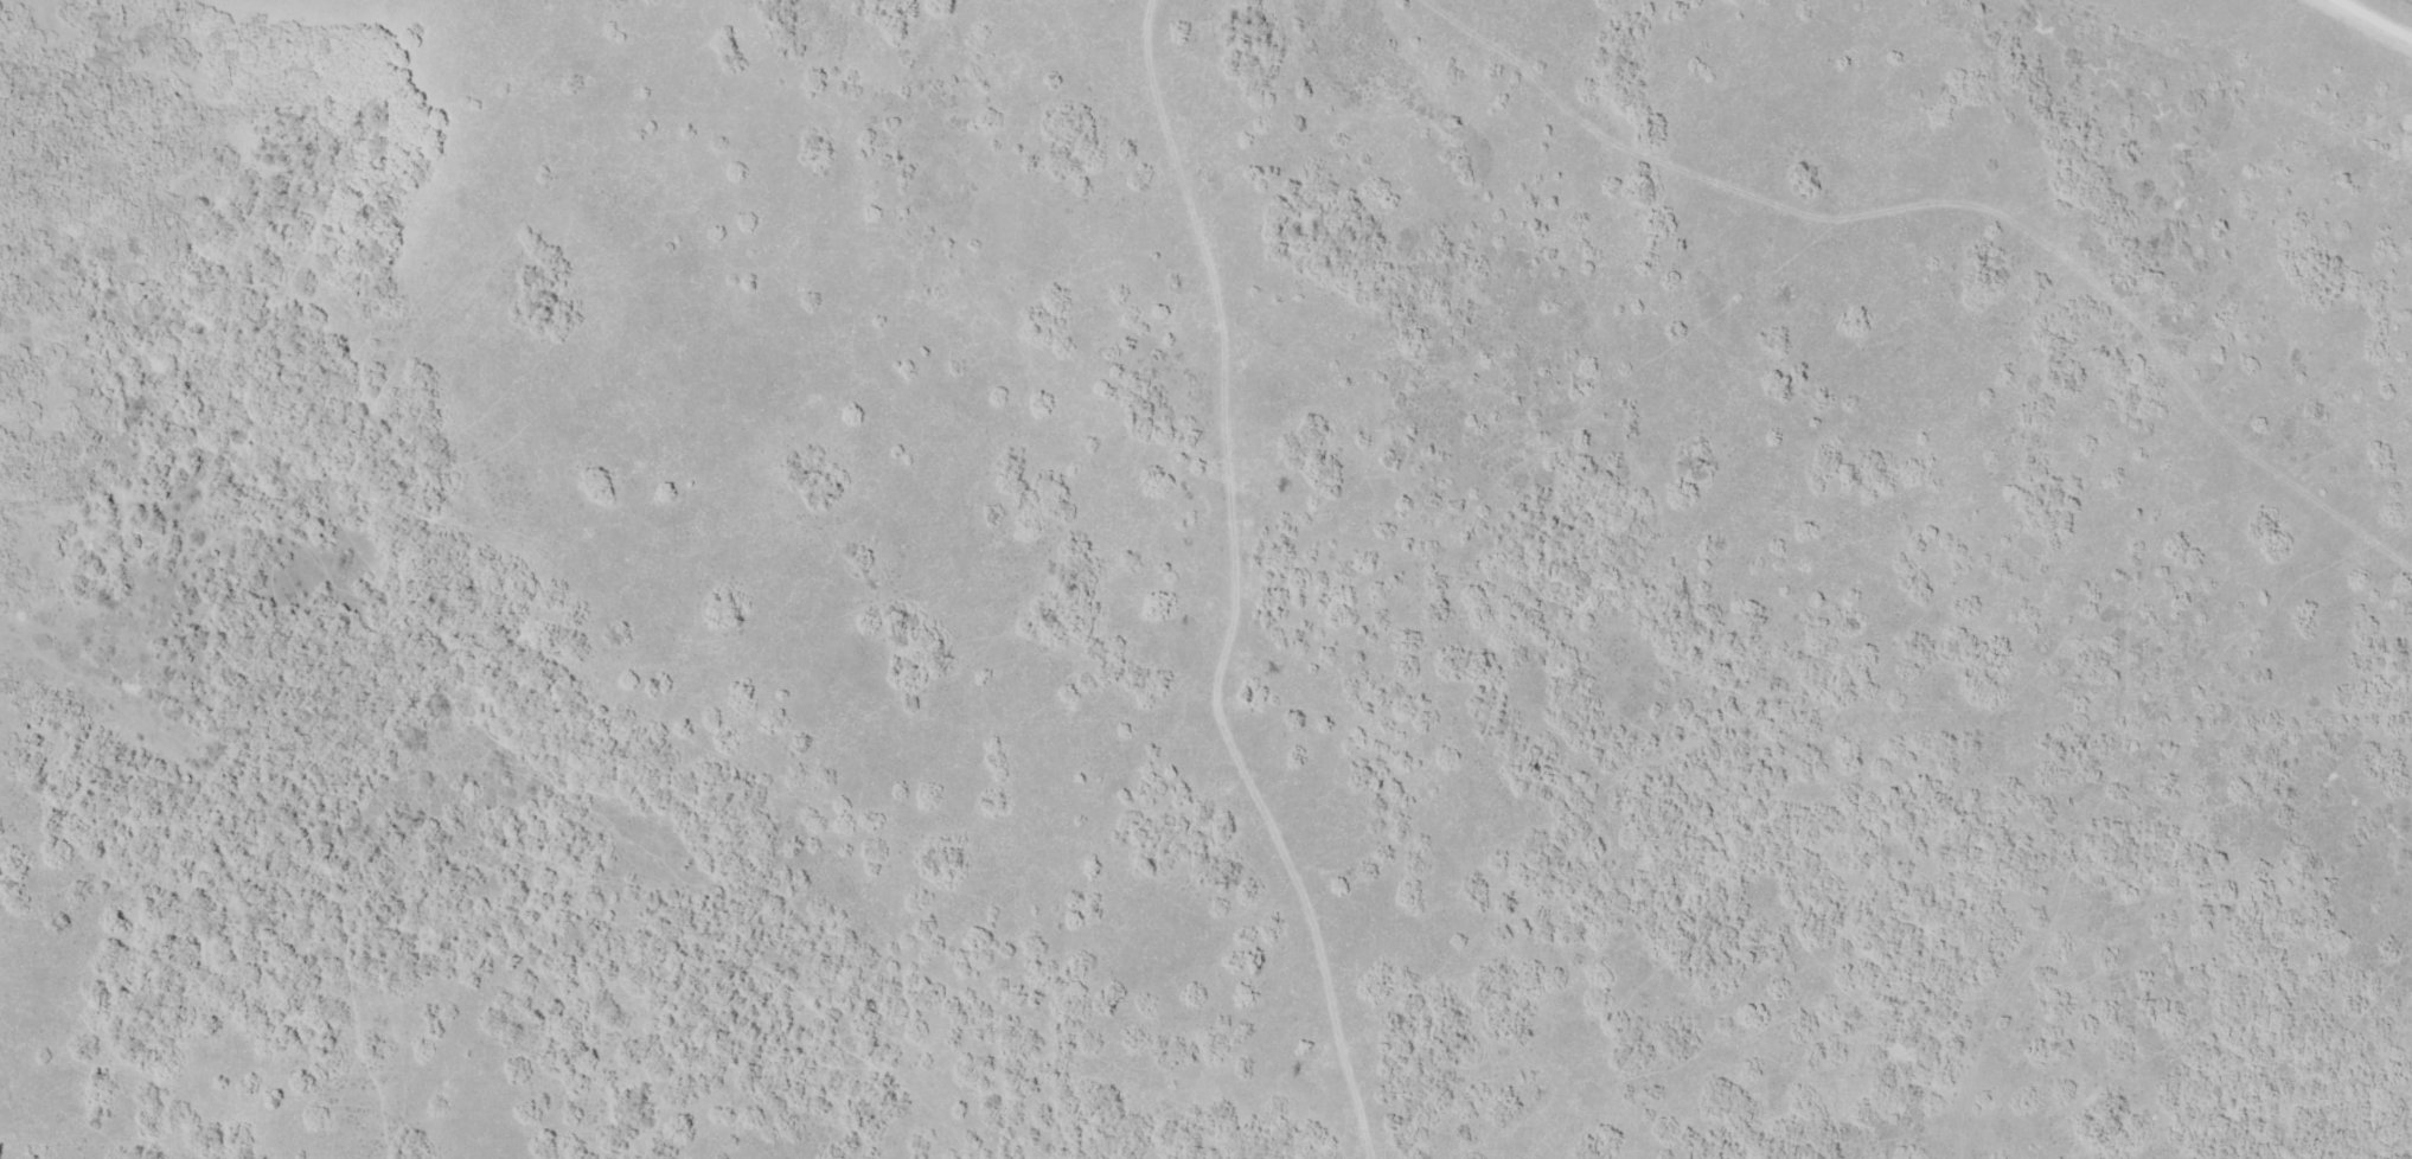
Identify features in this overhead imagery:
road: (2347, 33)

